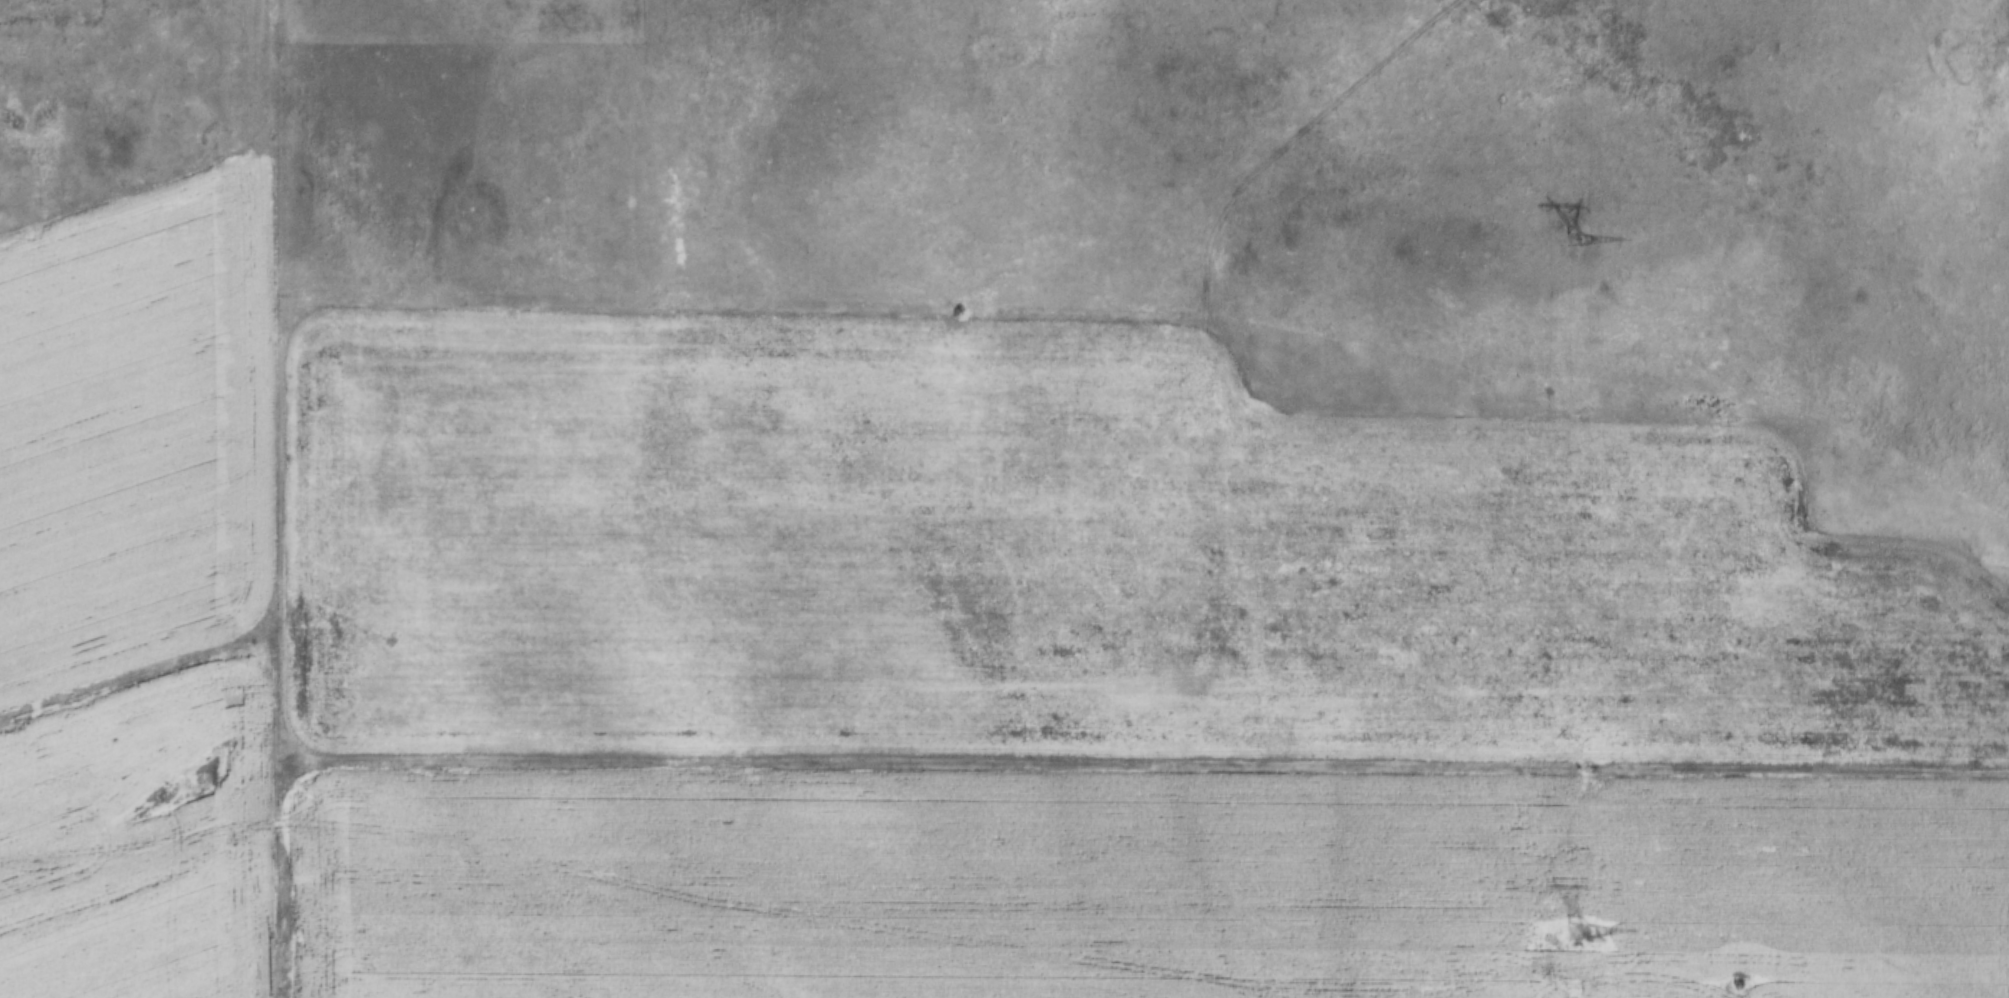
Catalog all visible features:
power tower: (1570, 238)
power tower: (1577, 933)

